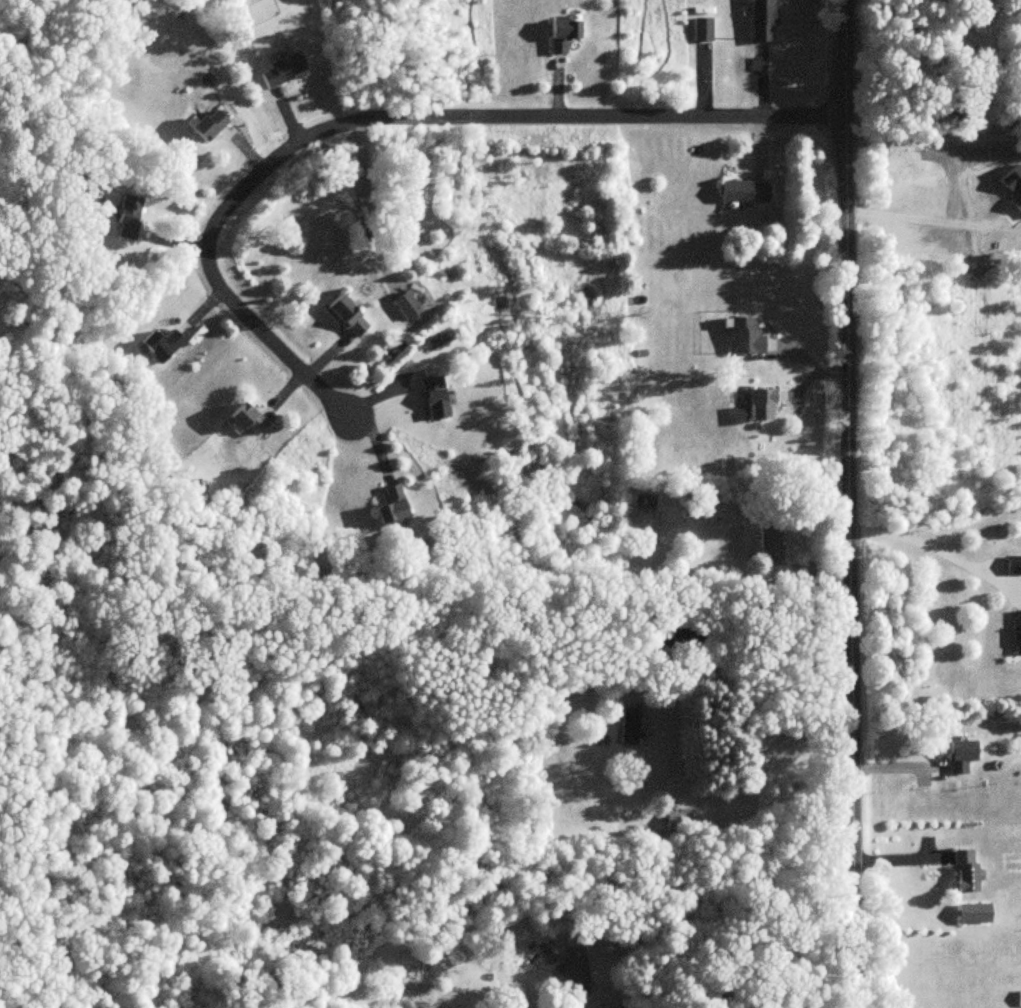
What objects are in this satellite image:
building: (759, 21)
building: (701, 30)
building: (560, 35)
building: (280, 71)
road: (382, 119)
building: (204, 127)
road: (932, 135)
building: (741, 193)
crop: (952, 206)
building: (126, 219)
road: (920, 228)
building: (404, 306)
building: (345, 317)
building: (742, 337)
building: (159, 346)
building: (432, 398)
building: (758, 404)
building: (242, 420)
road: (848, 504)
building: (390, 505)
building: (768, 543)
road: (931, 548)
building: (1012, 565)
building: (1016, 631)
building: (627, 727)
building: (958, 756)
road: (740, 789)
building: (677, 821)
building: (961, 871)
building: (969, 913)
building: (571, 969)
building: (1017, 998)
road: (623, 1002)
road: (822, 1002)

